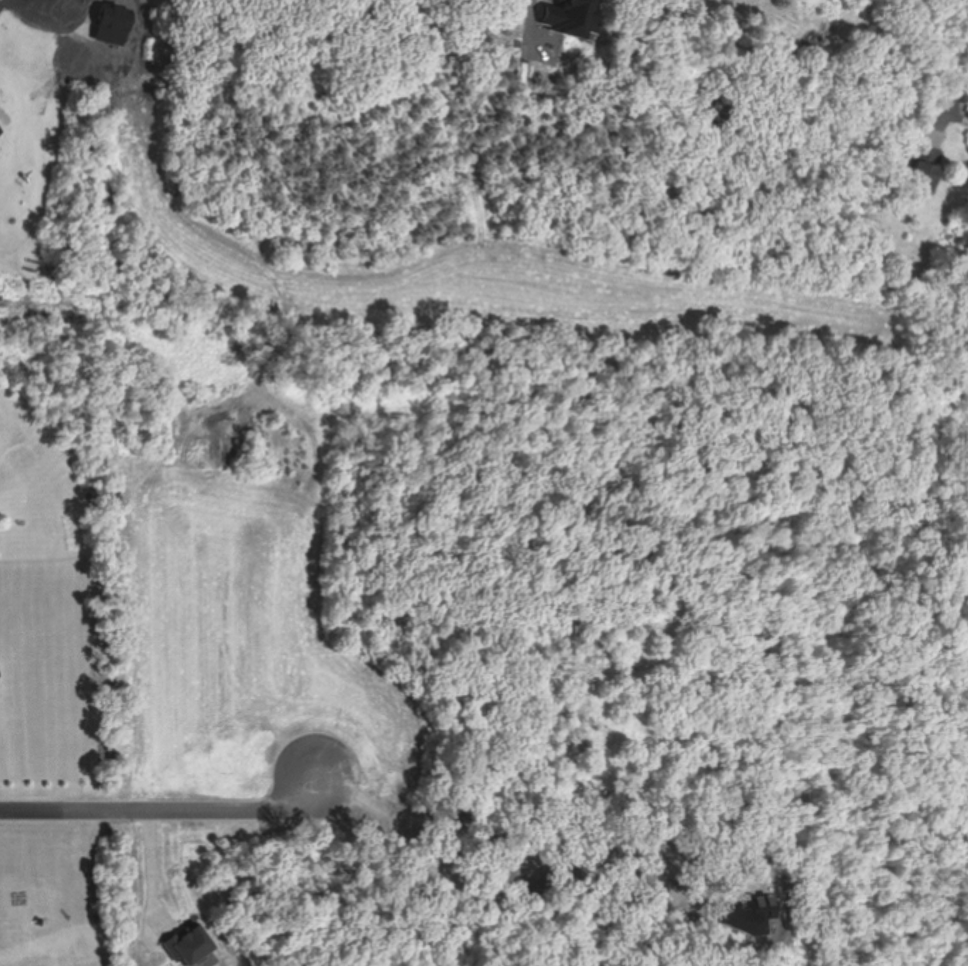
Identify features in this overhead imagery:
road: (954, 108)
building: (925, 176)
road: (164, 809)

